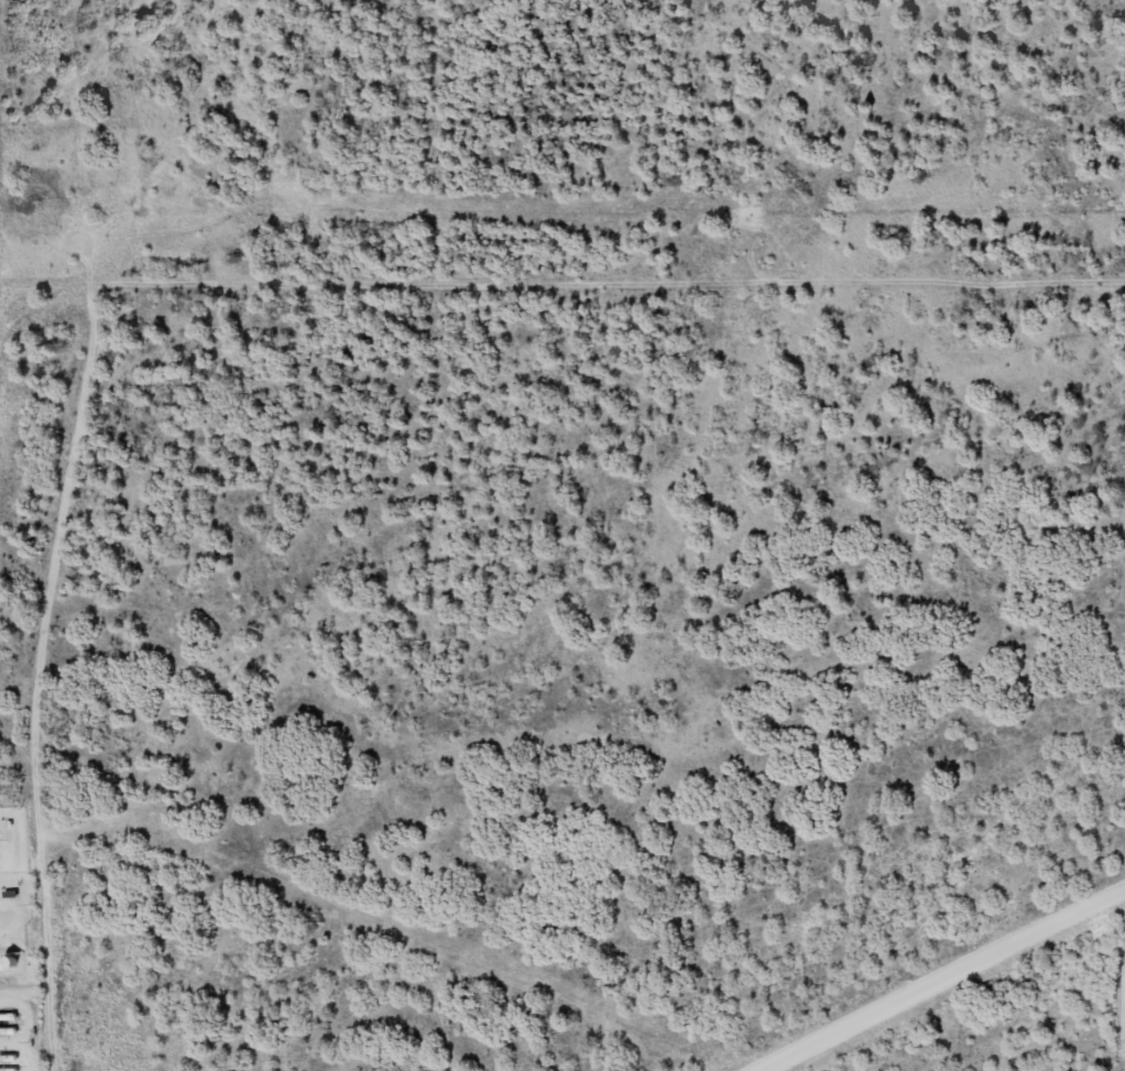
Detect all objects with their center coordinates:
road: (977, 1004)

